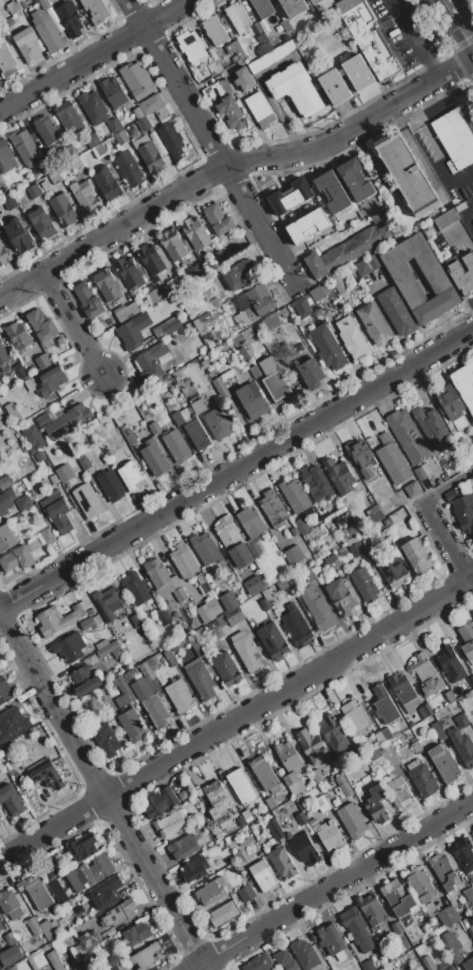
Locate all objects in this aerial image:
building: (34, 0)
building: (1, 3)
building: (322, 3)
building: (44, 4)
road: (406, 5)
building: (13, 7)
building: (262, 7)
building: (293, 7)
building: (96, 9)
building: (238, 17)
building: (69, 18)
road: (388, 21)
road: (460, 21)
building: (7, 23)
road: (407, 29)
building: (214, 30)
building: (1, 31)
building: (50, 34)
building: (367, 36)
building: (27, 44)
building: (191, 46)
building: (234, 49)
road: (94, 55)
building: (273, 55)
road: (394, 55)
building: (7, 61)
building: (214, 67)
road: (430, 69)
building: (356, 72)
building: (137, 79)
building: (244, 79)
building: (333, 86)
building: (296, 89)
building: (113, 92)
road: (451, 99)
road: (425, 100)
building: (151, 104)
building: (93, 107)
building: (229, 107)
building: (260, 109)
building: (138, 113)
building: (162, 113)
building: (69, 117)
building: (143, 123)
building: (114, 126)
road: (354, 126)
building: (46, 130)
building: (121, 137)
building: (154, 137)
building: (454, 139)
building: (92, 140)
building: (172, 140)
road: (209, 140)
building: (24, 146)
building: (149, 154)
building: (6, 157)
road: (438, 163)
building: (128, 168)
building: (406, 173)
building: (355, 179)
building: (2, 182)
building: (107, 182)
building: (332, 191)
building: (4, 192)
building: (33, 192)
building: (85, 196)
building: (291, 196)
building: (10, 203)
building: (62, 209)
road: (463, 216)
building: (446, 219)
building: (218, 220)
building: (42, 223)
building: (307, 225)
road: (112, 232)
building: (195, 232)
building: (18, 235)
building: (173, 245)
building: (391, 245)
building: (351, 246)
building: (3, 255)
building: (151, 259)
building: (372, 261)
building: (361, 267)
building: (129, 272)
building: (237, 274)
building: (463, 274)
building: (403, 278)
building: (339, 283)
building: (107, 286)
building: (315, 293)
building: (152, 295)
building: (87, 300)
building: (214, 301)
building: (258, 301)
building: (302, 307)
building: (396, 311)
building: (127, 312)
building: (205, 317)
building: (270, 322)
road: (72, 323)
building: (373, 323)
building: (41, 324)
building: (162, 331)
building: (132, 333)
building: (18, 335)
building: (352, 337)
building: (298, 346)
building: (327, 347)
building: (4, 353)
building: (243, 353)
building: (42, 361)
building: (150, 363)
building: (254, 371)
building: (21, 372)
building: (311, 373)
building: (273, 378)
building: (52, 380)
building: (464, 383)
building: (220, 388)
building: (188, 389)
building: (252, 400)
building: (451, 405)
building: (198, 406)
building: (12, 412)
building: (184, 413)
building: (177, 417)
building: (68, 420)
building: (220, 422)
building: (430, 424)
building: (0, 426)
building: (34, 426)
building: (154, 428)
building: (197, 434)
building: (407, 436)
building: (32, 437)
building: (129, 437)
building: (176, 446)
building: (40, 456)
building: (0, 457)
building: (154, 458)
building: (362, 459)
building: (392, 460)
building: (84, 462)
building: (443, 464)
road: (236, 467)
building: (1, 469)
building: (63, 473)
building: (420, 473)
building: (131, 476)
building: (340, 476)
building: (53, 479)
building: (316, 482)
building: (43, 483)
road: (447, 484)
building: (111, 485)
building: (413, 489)
building: (294, 496)
building: (87, 500)
building: (5, 502)
building: (272, 507)
building: (464, 512)
building: (374, 514)
building: (60, 515)
building: (251, 521)
building: (387, 522)
building: (302, 526)
building: (294, 531)
building: (47, 536)
building: (6, 538)
road: (445, 540)
building: (233, 542)
building: (205, 548)
building: (255, 549)
building: (355, 549)
building: (292, 555)
building: (20, 556)
building: (416, 556)
building: (183, 560)
building: (332, 563)
building: (394, 572)
building: (309, 574)
building: (158, 577)
building: (200, 578)
building: (254, 584)
building: (282, 584)
building: (363, 585)
building: (136, 588)
building: (180, 595)
building: (341, 597)
building: (228, 600)
building: (108, 602)
building: (264, 604)
building: (317, 608)
building: (208, 610)
building: (162, 614)
building: (236, 617)
building: (58, 619)
building: (136, 620)
building: (220, 620)
building: (86, 623)
building: (212, 625)
building: (296, 625)
building: (227, 631)
building: (214, 634)
building: (272, 640)
building: (467, 641)
building: (101, 644)
building: (194, 645)
building: (174, 646)
building: (70, 647)
building: (109, 650)
building: (248, 652)
building: (170, 658)
building: (451, 664)
building: (227, 669)
building: (146, 671)
building: (172, 671)
building: (130, 674)
building: (426, 675)
building: (85, 680)
building: (201, 680)
building: (471, 681)
building: (5, 691)
building: (123, 691)
building: (404, 692)
building: (449, 696)
building: (179, 697)
building: (151, 704)
building: (384, 705)
building: (425, 711)
building: (355, 716)
road: (236, 718)
building: (461, 720)
building: (12, 723)
building: (131, 724)
building: (438, 730)
building: (102, 733)
building: (333, 734)
building: (383, 735)
building: (311, 746)
building: (416, 746)
building: (462, 746)
building: (109, 747)
building: (389, 755)
building: (289, 760)
building: (444, 763)
building: (7, 767)
building: (265, 774)
building: (47, 775)
building: (317, 775)
building: (421, 778)
building: (241, 786)
building: (343, 786)
building: (297, 788)
road: (102, 793)
building: (399, 793)
building: (12, 799)
building: (276, 800)
building: (160, 802)
building: (269, 802)
building: (218, 804)
building: (321, 804)
building: (376, 804)
building: (247, 816)
building: (301, 818)
building: (351, 820)
building: (170, 824)
building: (0, 825)
building: (274, 829)
building: (331, 838)
building: (183, 846)
building: (83, 847)
building: (305, 848)
building: (464, 854)
building: (239, 856)
building: (282, 863)
building: (51, 869)
building: (195, 869)
building: (90, 873)
building: (444, 874)
building: (262, 875)
building: (421, 884)
road: (331, 885)
building: (35, 891)
building: (57, 891)
building: (106, 891)
building: (211, 891)
building: (247, 893)
building: (468, 893)
building: (399, 899)
building: (83, 901)
building: (10, 905)
building: (372, 909)
building: (88, 910)
building: (119, 913)
building: (224, 914)
building: (448, 917)
building: (469, 924)
building: (1, 926)
building: (396, 927)
building: (357, 928)
building: (35, 929)
building: (46, 929)
building: (136, 933)
building: (330, 939)
building: (90, 940)
building: (452, 945)
building: (305, 954)
building: (10, 955)
building: (145, 956)
building: (281, 957)
building: (114, 959)
building: (54, 961)
building: (427, 962)
building: (259, 963)
building: (468, 964)
building: (291, 965)
building: (367, 965)
building: (82, 967)
building: (112, 967)
building: (12, 968)
building: (452, 968)
building: (331, 969)
building: (380, 969)

